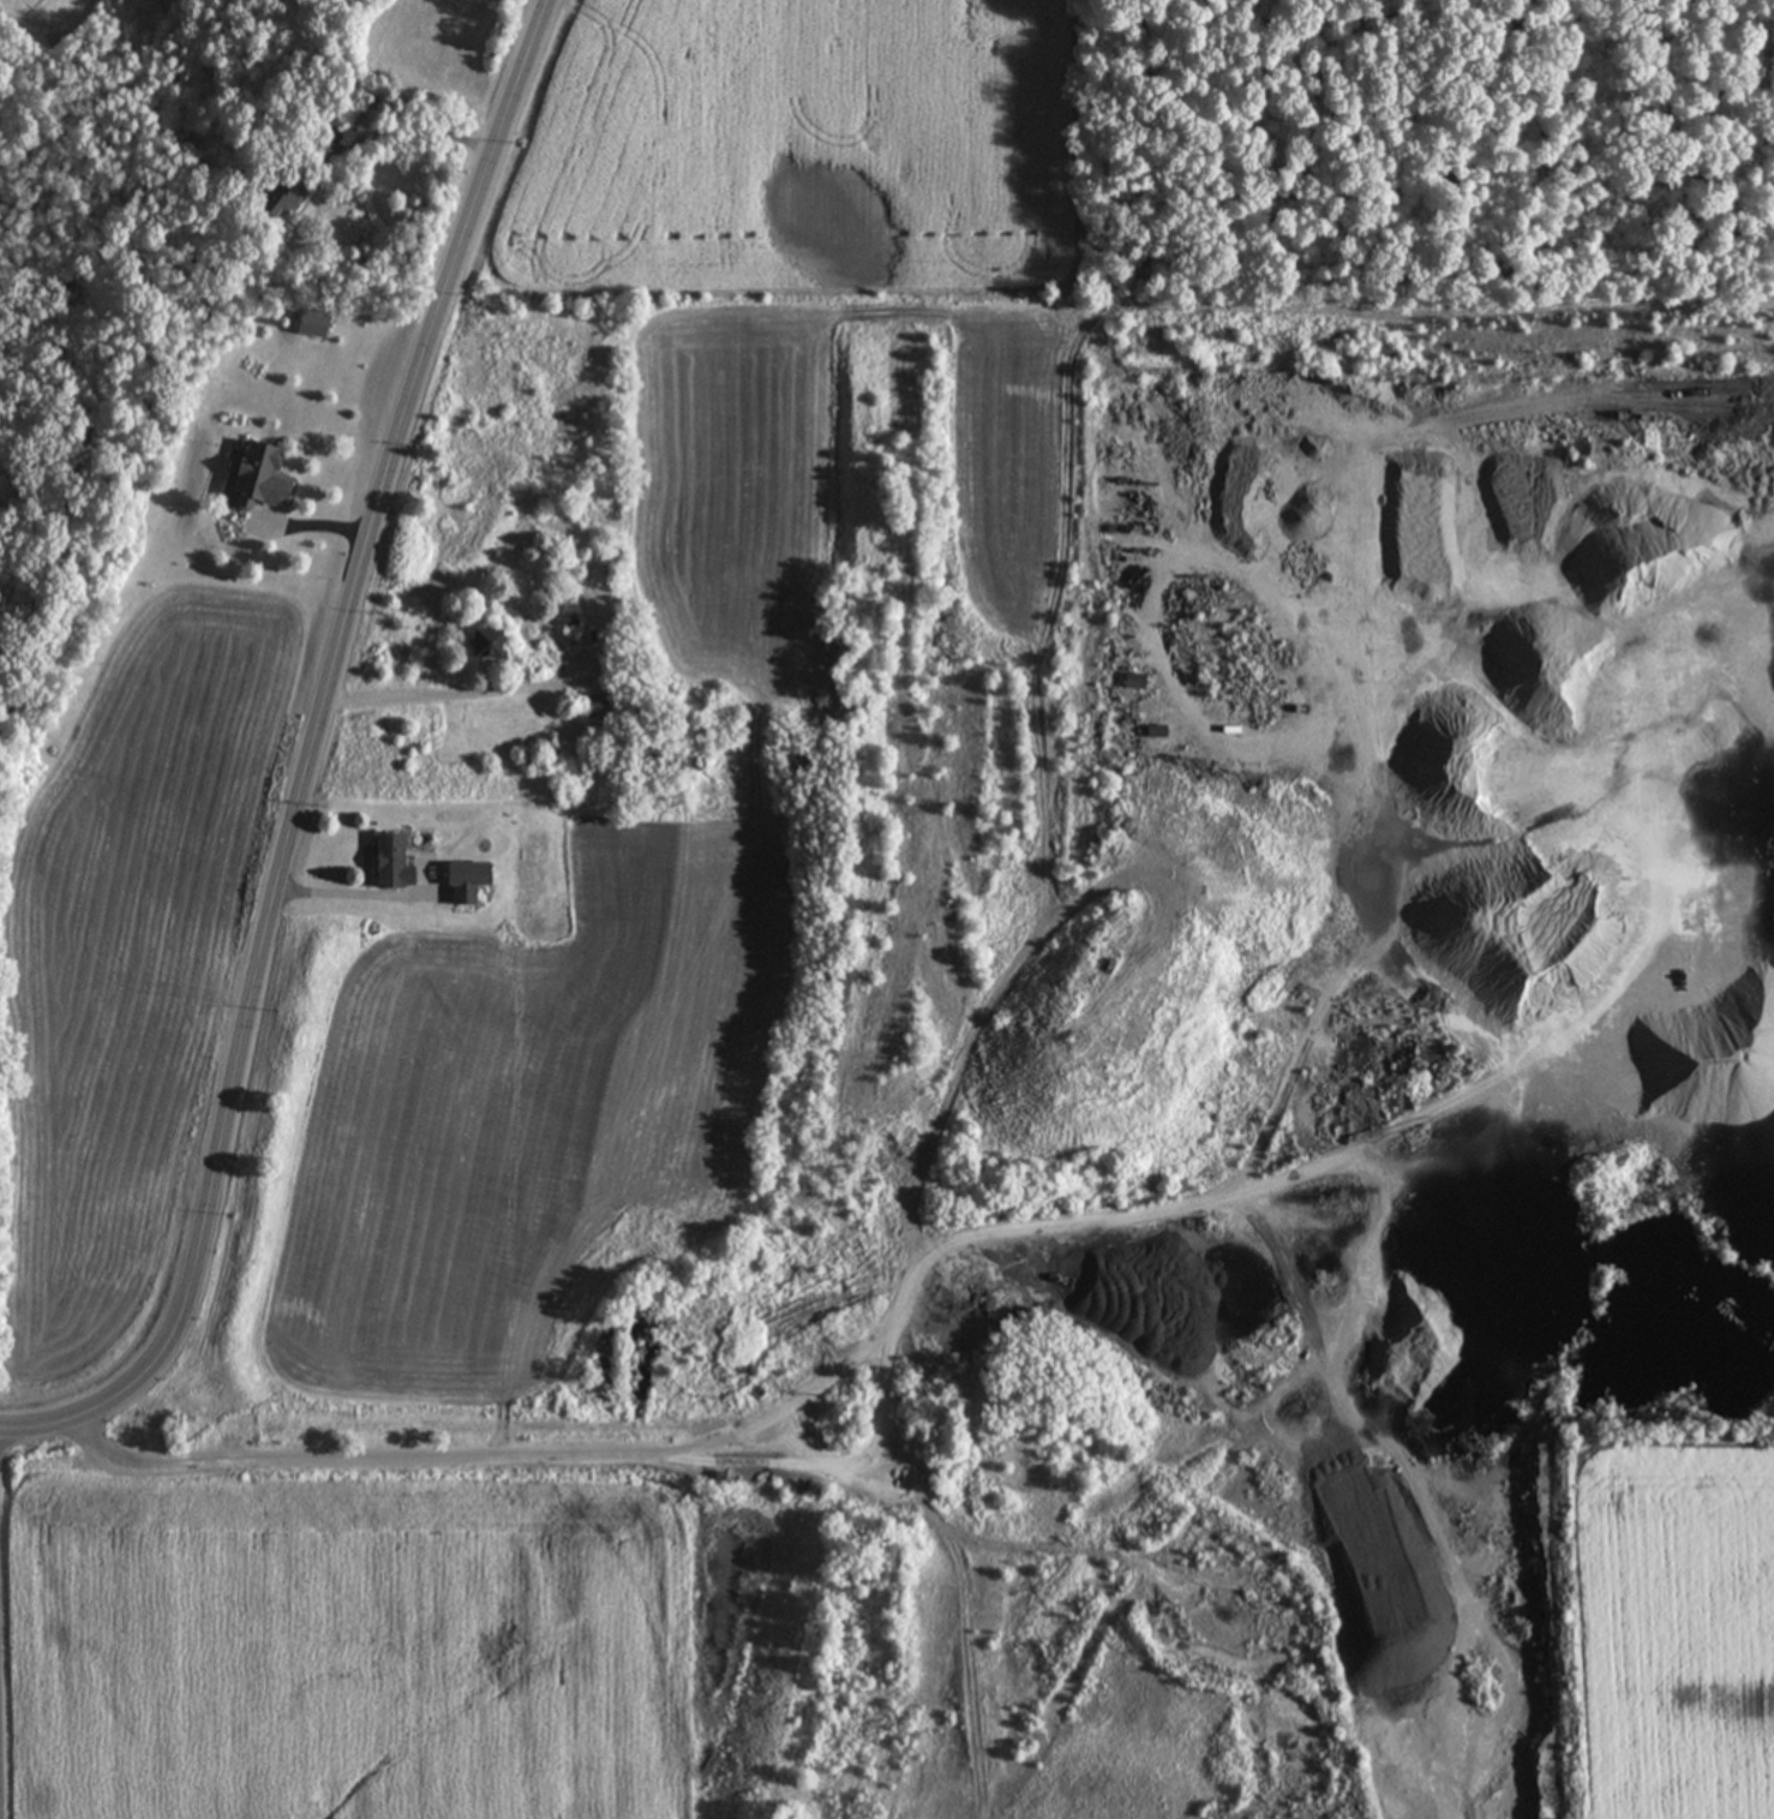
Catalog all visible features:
building: (270, 198)
building: (308, 324)
building: (253, 478)
building: (563, 621)
building: (481, 645)
road: (413, 690)
building: (595, 707)
road: (305, 770)
building: (388, 864)
building: (462, 882)
road: (359, 890)
quarry: (1210, 1066)
building: (911, 1388)
road: (598, 1440)
road: (1, 1727)

